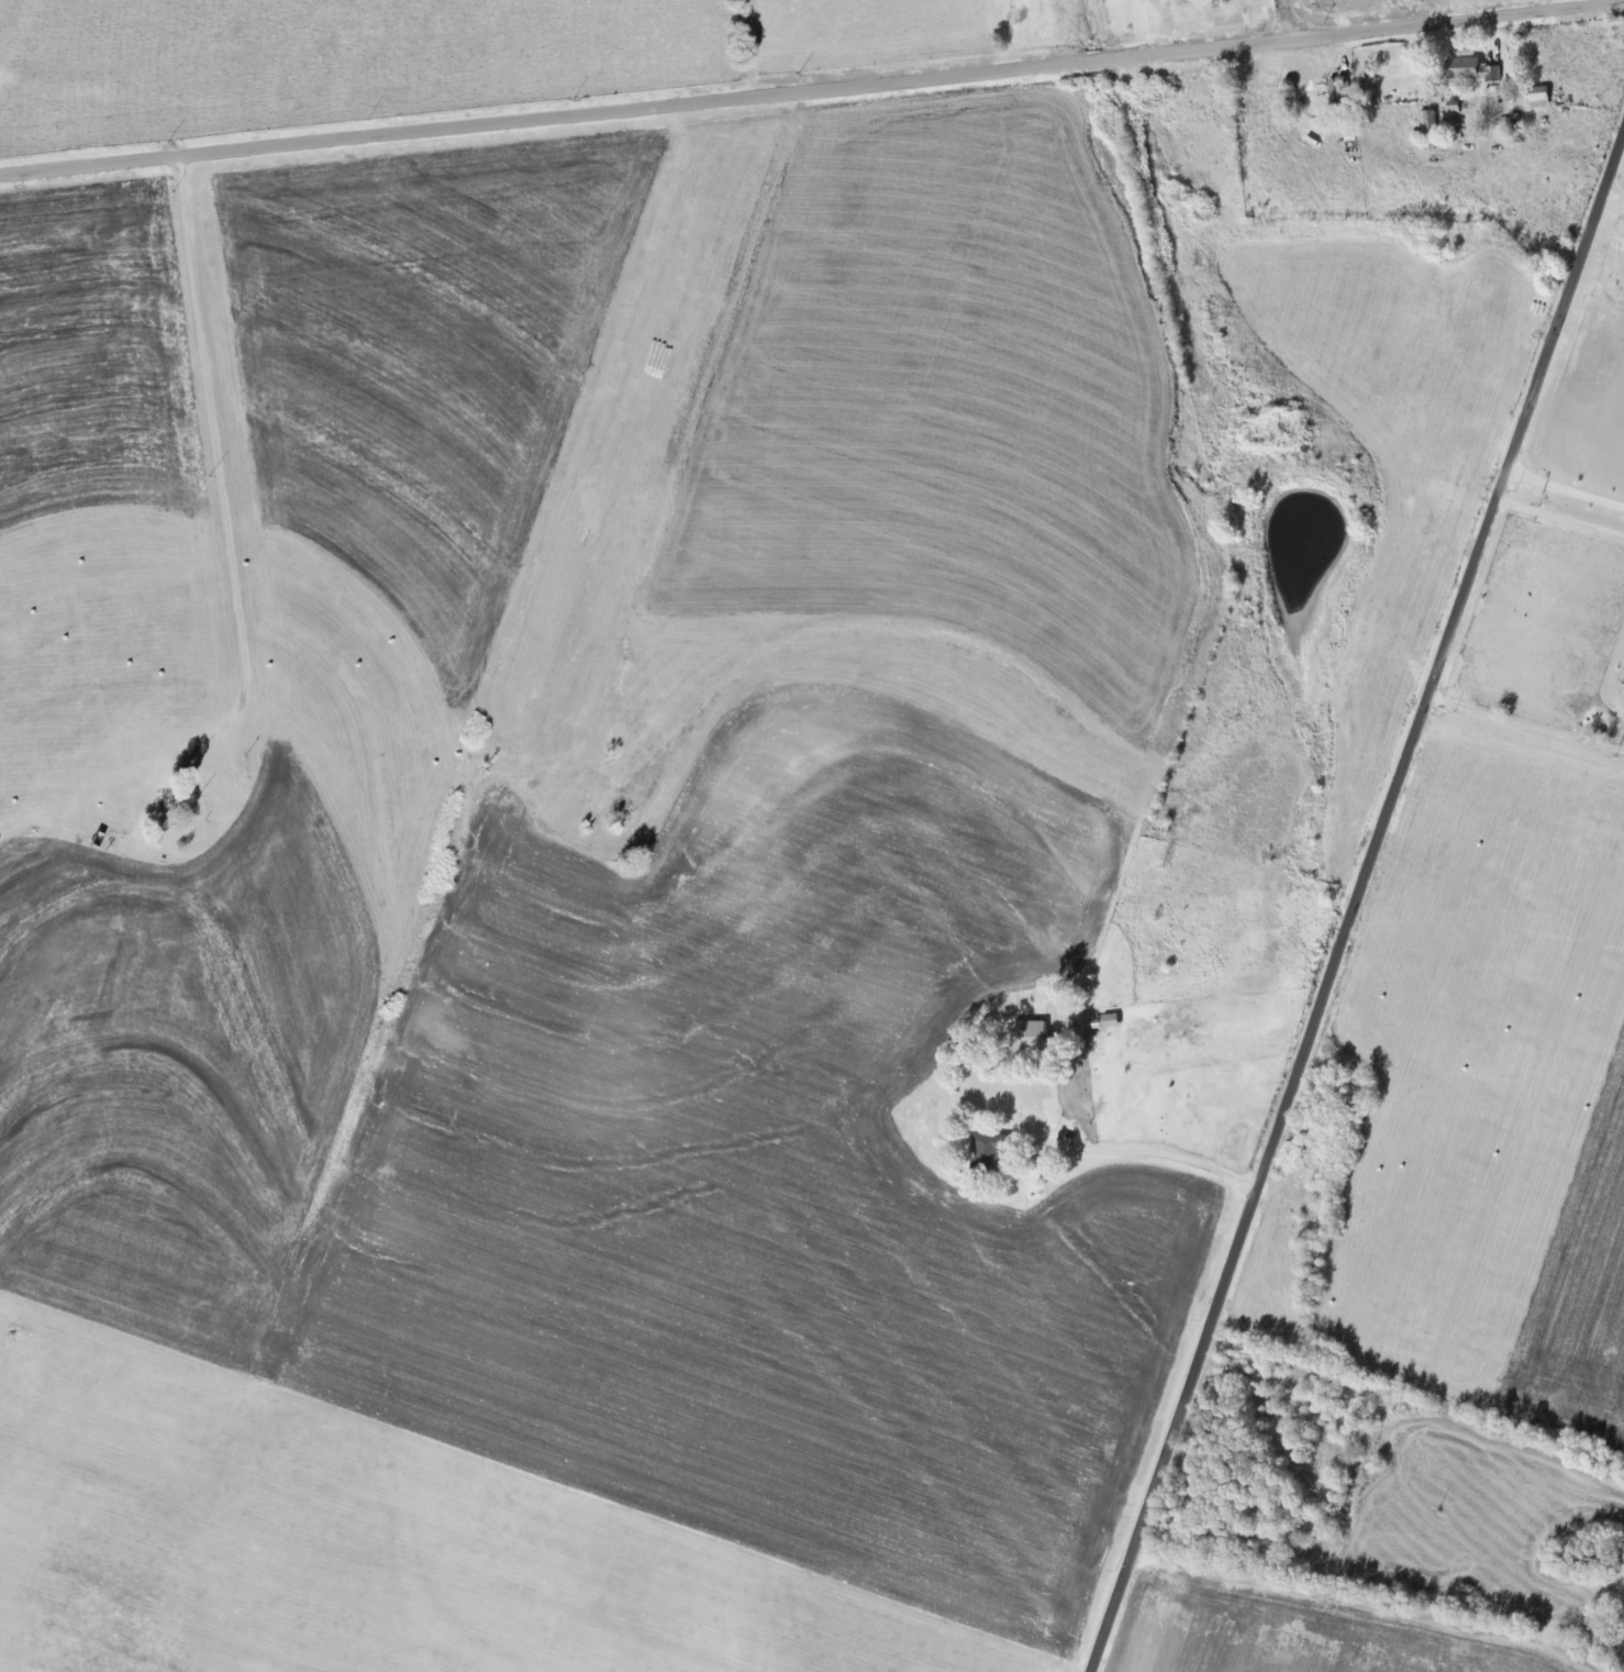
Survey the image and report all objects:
road: (1282, 21)
building: (1469, 69)
road: (812, 90)
building: (1537, 97)
building: (1451, 106)
building: (1426, 122)
road: (1612, 204)
road: (222, 468)
road: (1564, 502)
road: (1528, 711)
road: (1357, 903)
building: (1027, 1037)
building: (988, 1150)
road: (1150, 1152)

